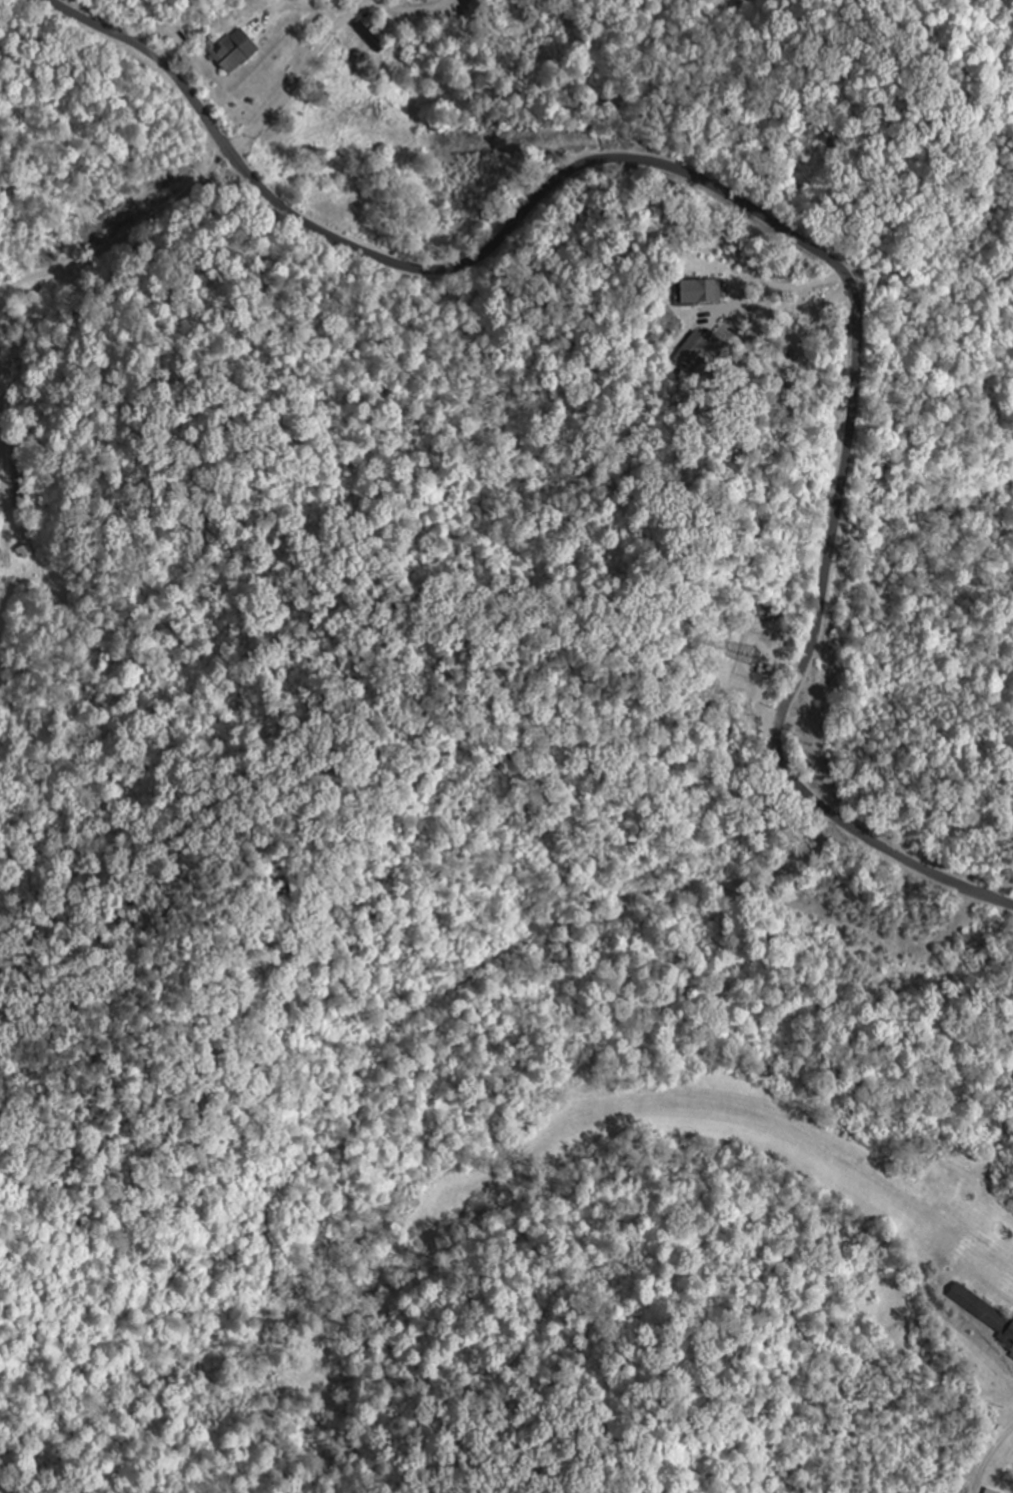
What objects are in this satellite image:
building: (234, 50)
road: (207, 173)
road: (774, 221)
building: (700, 291)
road: (82, 333)
building: (690, 350)
building: (1004, 1332)
building: (990, 1491)

